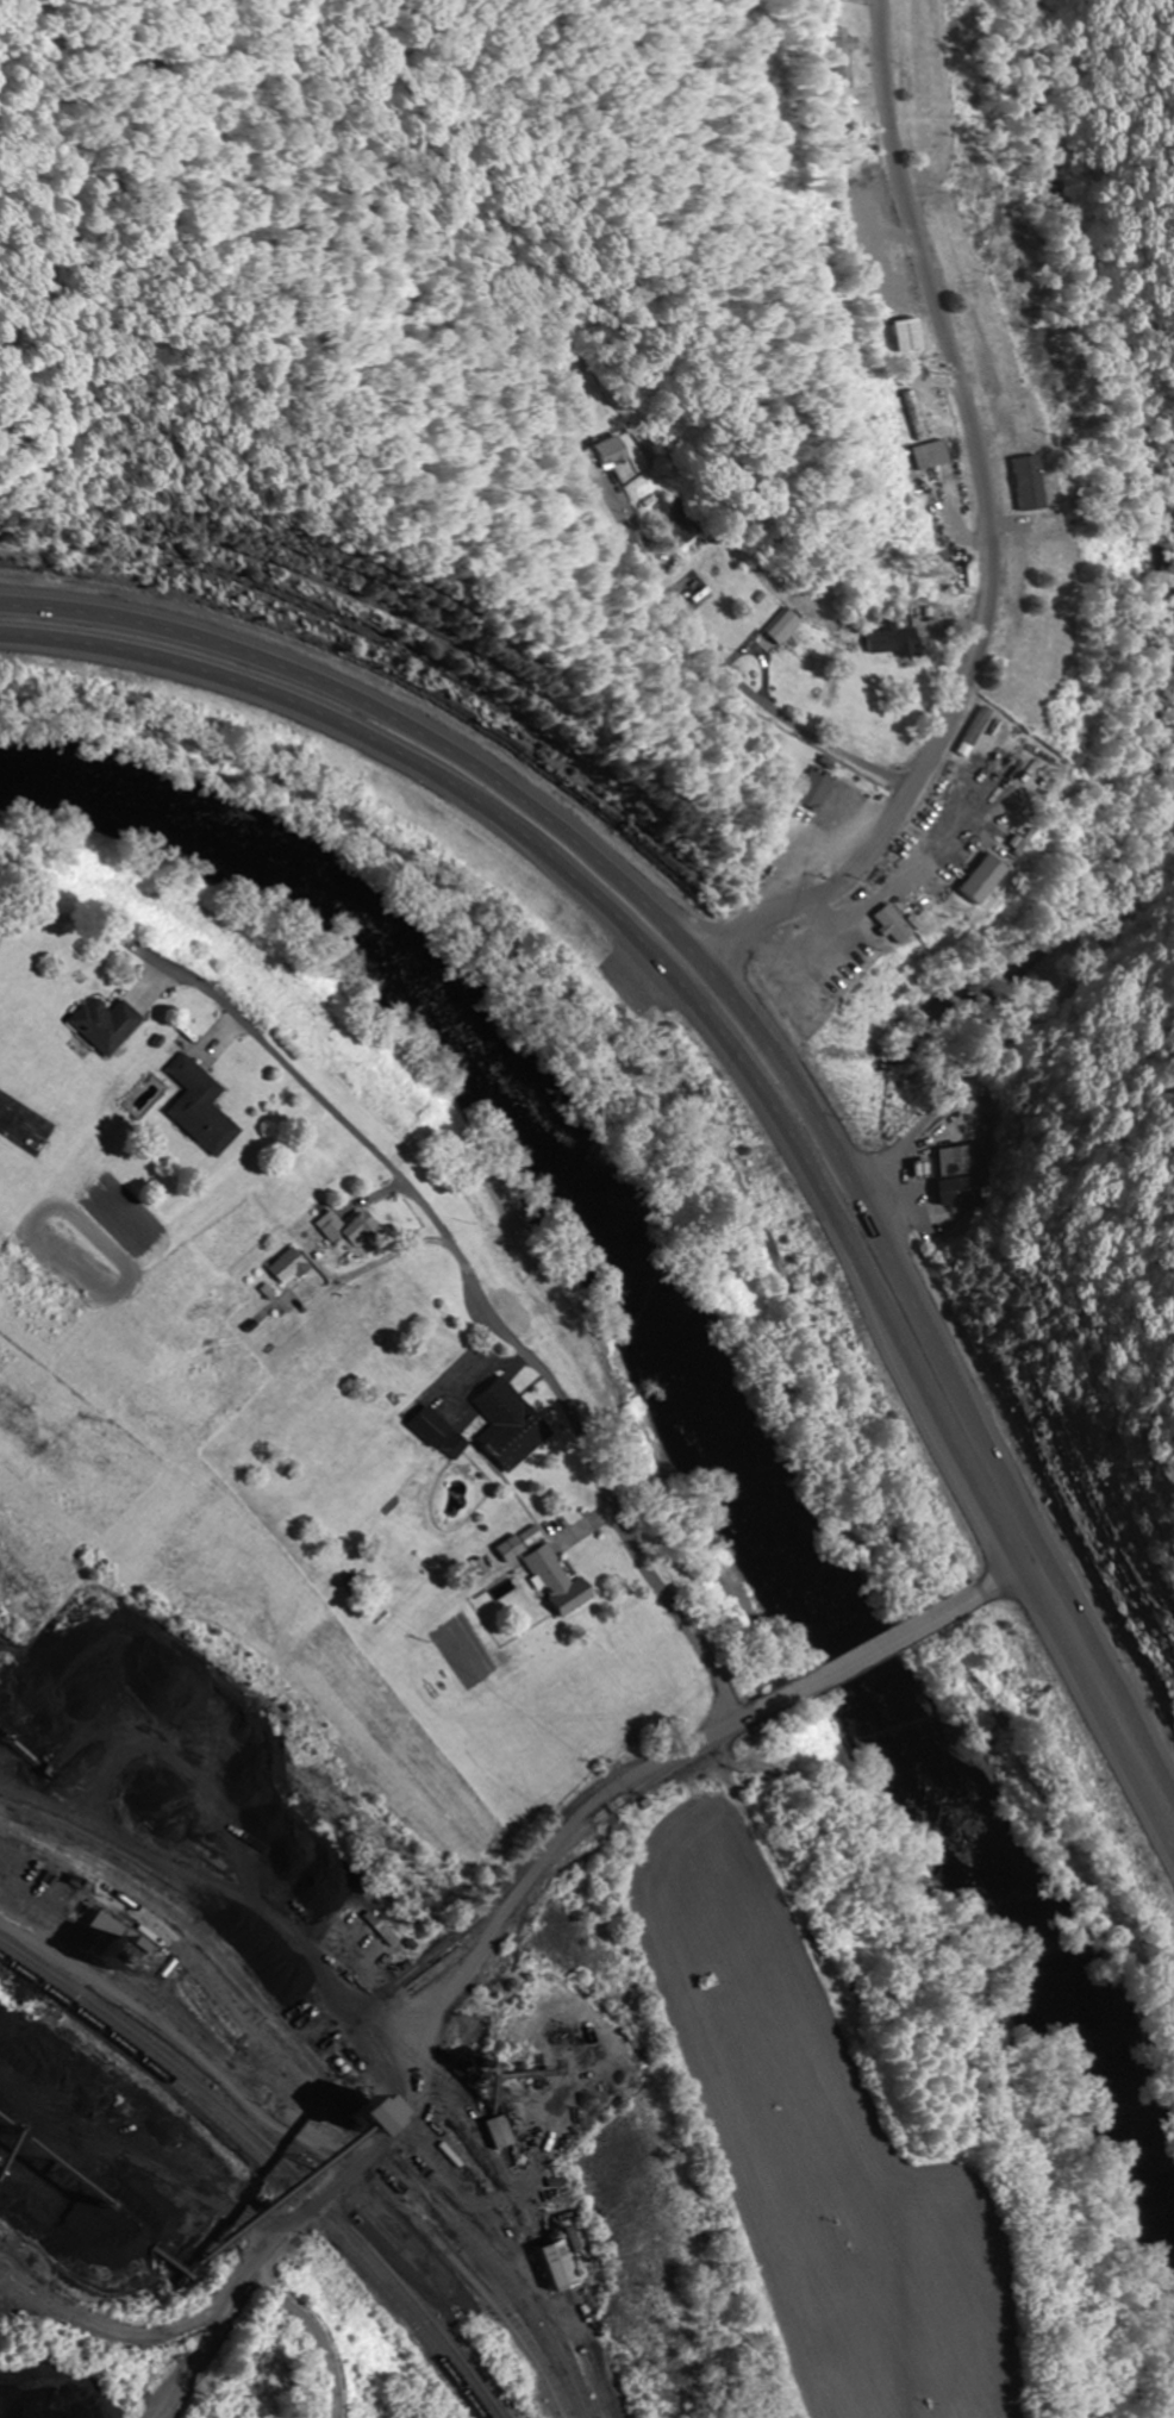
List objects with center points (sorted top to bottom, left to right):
building: (842, 55)
building: (908, 337)
building: (619, 452)
building: (933, 456)
building: (685, 519)
road: (987, 536)
building: (791, 626)
building: (898, 641)
road: (768, 714)
building: (818, 789)
building: (1004, 827)
road: (688, 970)
road: (745, 1011)
building: (104, 1025)
road: (1010, 1042)
road: (743, 1074)
building: (198, 1107)
building: (958, 1176)
building: (348, 1230)
building: (287, 1267)
road: (498, 1319)
river: (699, 1370)
building: (507, 1426)
building: (438, 1433)
road: (1014, 1573)
building: (556, 1582)
road: (867, 1654)
road: (568, 1835)
road: (216, 1880)
road: (179, 2035)
railway: (356, 2066)
building: (406, 2120)
road: (393, 2133)
building: (506, 2141)
railway: (266, 2170)
building: (566, 2268)
road: (307, 2322)
road: (164, 2337)

